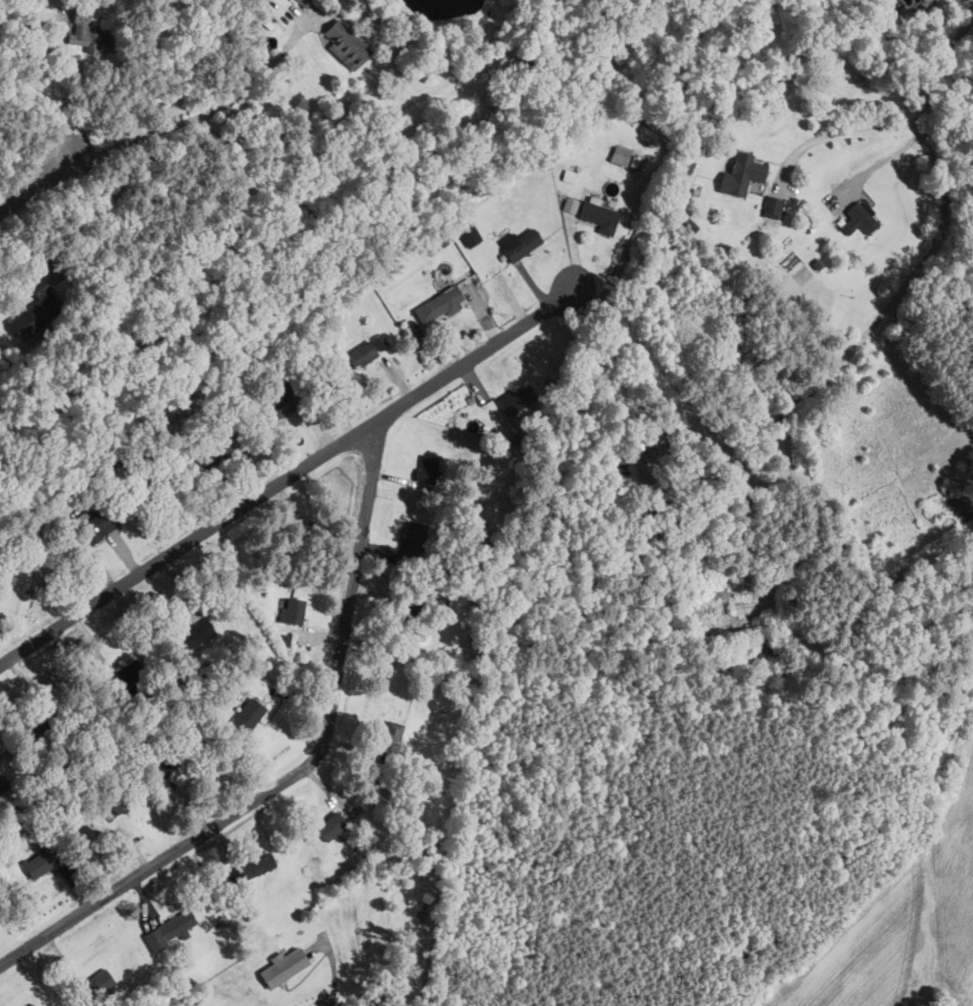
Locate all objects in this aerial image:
building: (303, 2)
building: (90, 34)
building: (346, 44)
road: (201, 114)
road: (847, 130)
building: (620, 154)
building: (741, 173)
building: (569, 175)
road: (41, 181)
building: (570, 204)
building: (772, 206)
road: (948, 208)
building: (599, 217)
building: (858, 218)
building: (470, 237)
building: (436, 243)
building: (521, 245)
building: (439, 305)
building: (35, 309)
road: (915, 344)
building: (367, 350)
building: (284, 381)
building: (516, 400)
building: (274, 411)
road: (749, 433)
building: (214, 452)
building: (428, 469)
road: (294, 476)
building: (955, 500)
building: (108, 519)
building: (477, 529)
building: (413, 540)
building: (294, 610)
building: (410, 616)
building: (196, 632)
building: (127, 673)
building: (249, 714)
building: (36, 725)
building: (393, 730)
building: (168, 759)
road: (302, 769)
building: (3, 781)
building: (119, 802)
building: (330, 826)
building: (38, 863)
building: (253, 867)
building: (168, 929)
building: (283, 966)
building: (96, 985)
building: (31, 1005)

